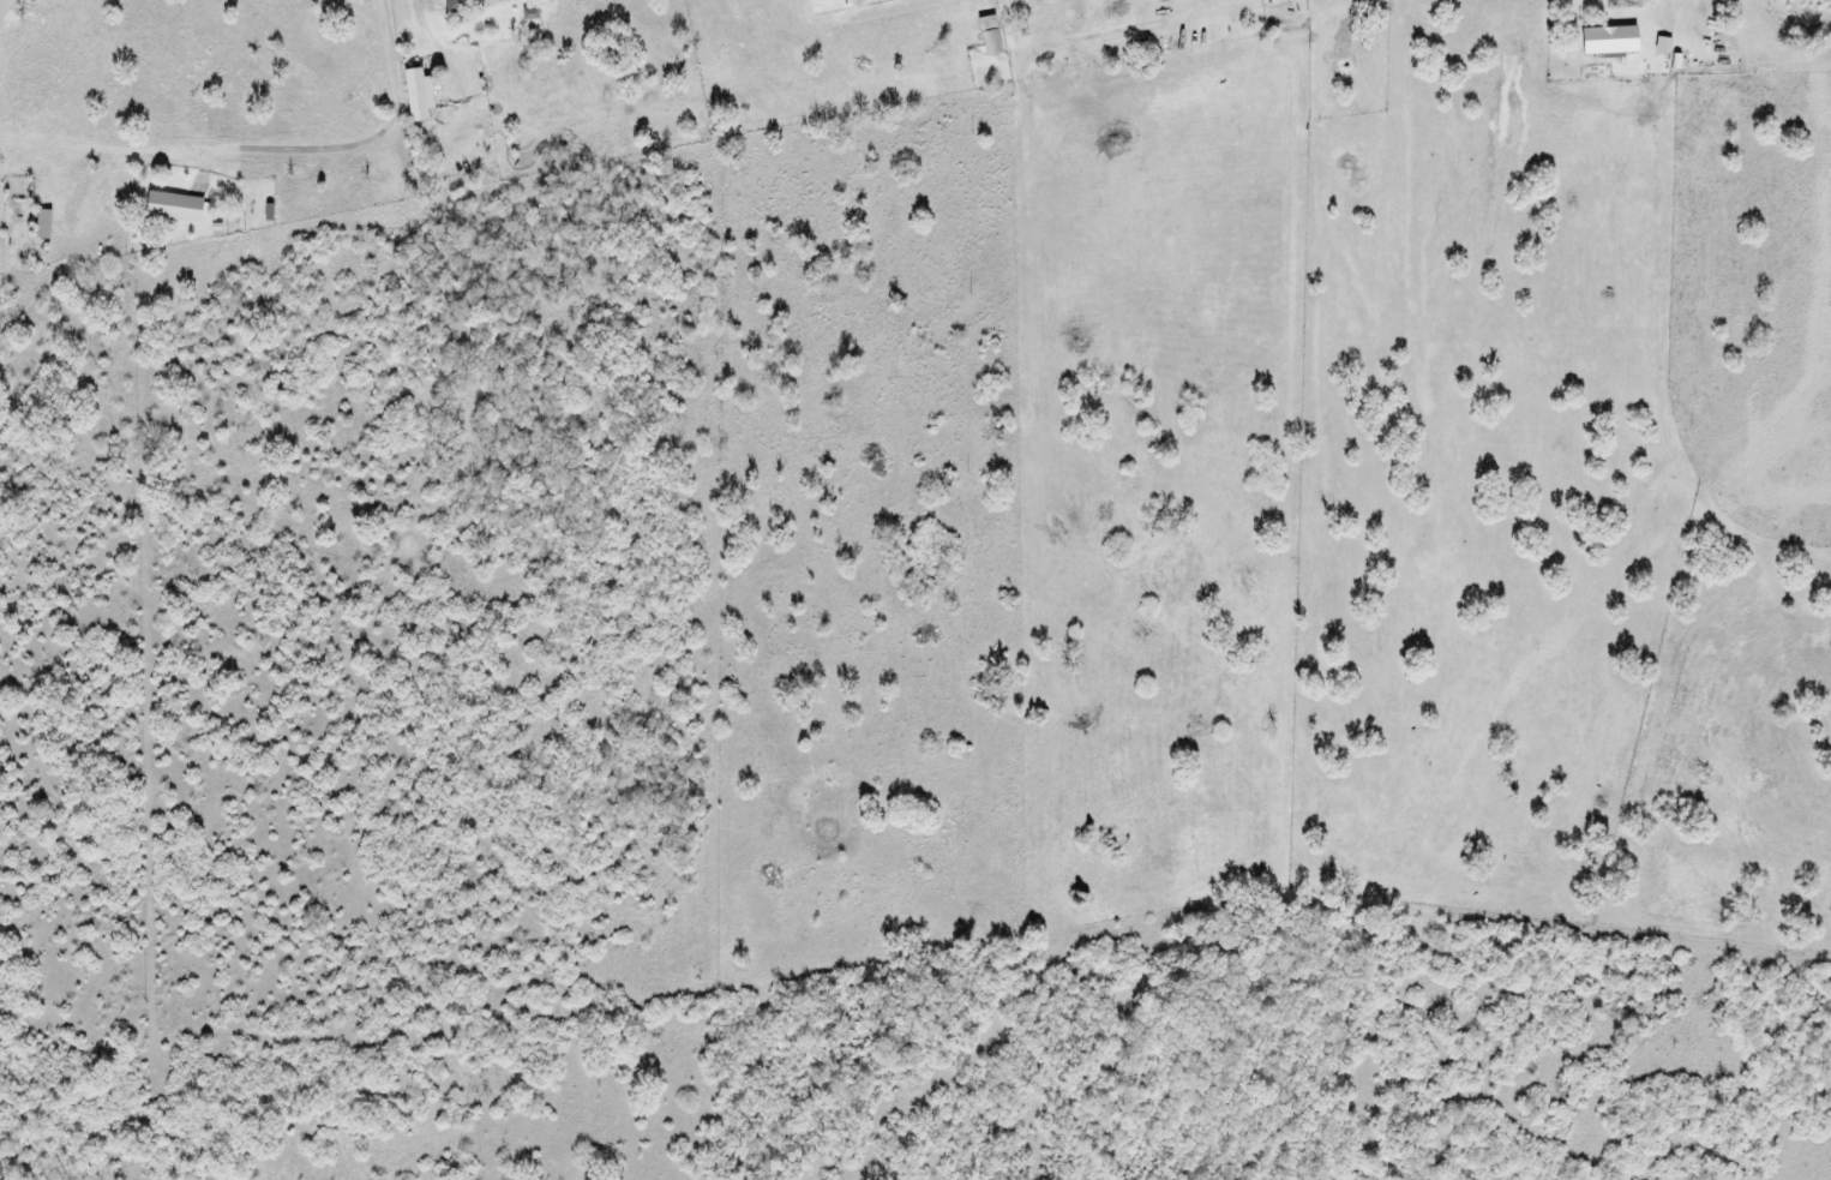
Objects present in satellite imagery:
building: (458, 5)
building: (533, 14)
building: (992, 36)
building: (1614, 41)
building: (1667, 46)
building: (421, 95)
building: (178, 208)
building: (46, 224)

